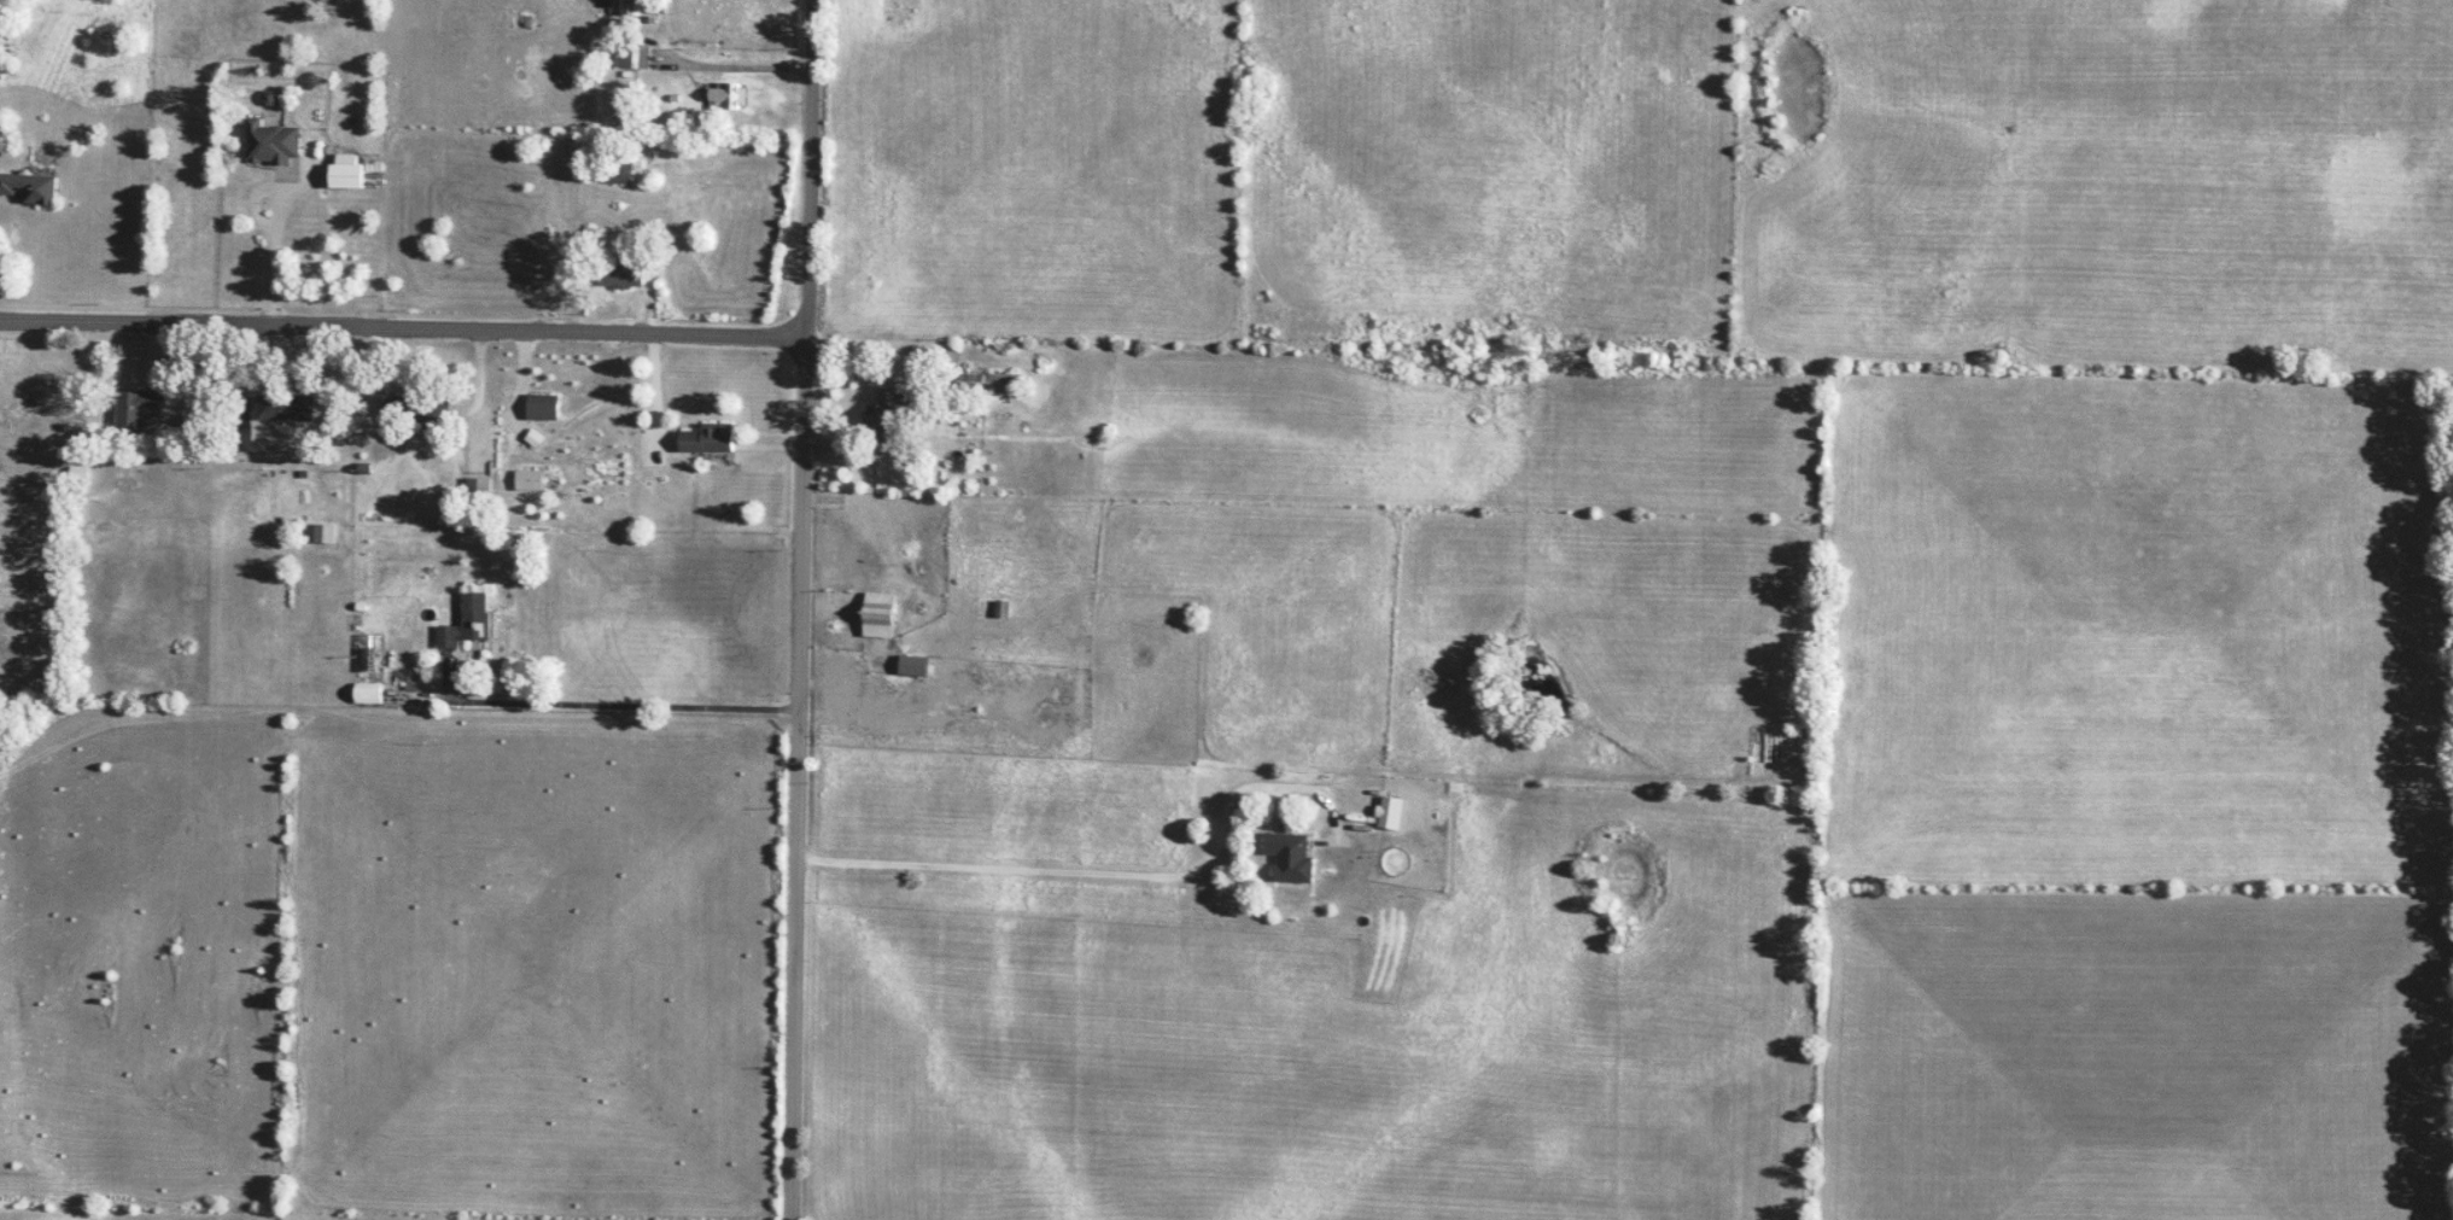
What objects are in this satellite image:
building: (630, 8)
building: (639, 58)
road: (720, 66)
building: (725, 97)
building: (271, 142)
building: (617, 164)
road: (808, 169)
building: (345, 170)
building: (29, 188)
road: (278, 218)
building: (618, 275)
road: (403, 327)
road: (881, 346)
building: (1004, 384)
road: (479, 393)
road: (655, 399)
building: (541, 407)
building: (284, 408)
building: (883, 408)
building: (135, 411)
building: (236, 437)
building: (707, 439)
building: (78, 474)
building: (528, 479)
building: (477, 489)
road: (890, 565)
building: (1000, 609)
building: (877, 614)
building: (466, 621)
building: (912, 666)
building: (368, 694)
road: (609, 708)
road: (805, 778)
building: (1388, 813)
building: (1291, 857)
road: (1099, 876)

